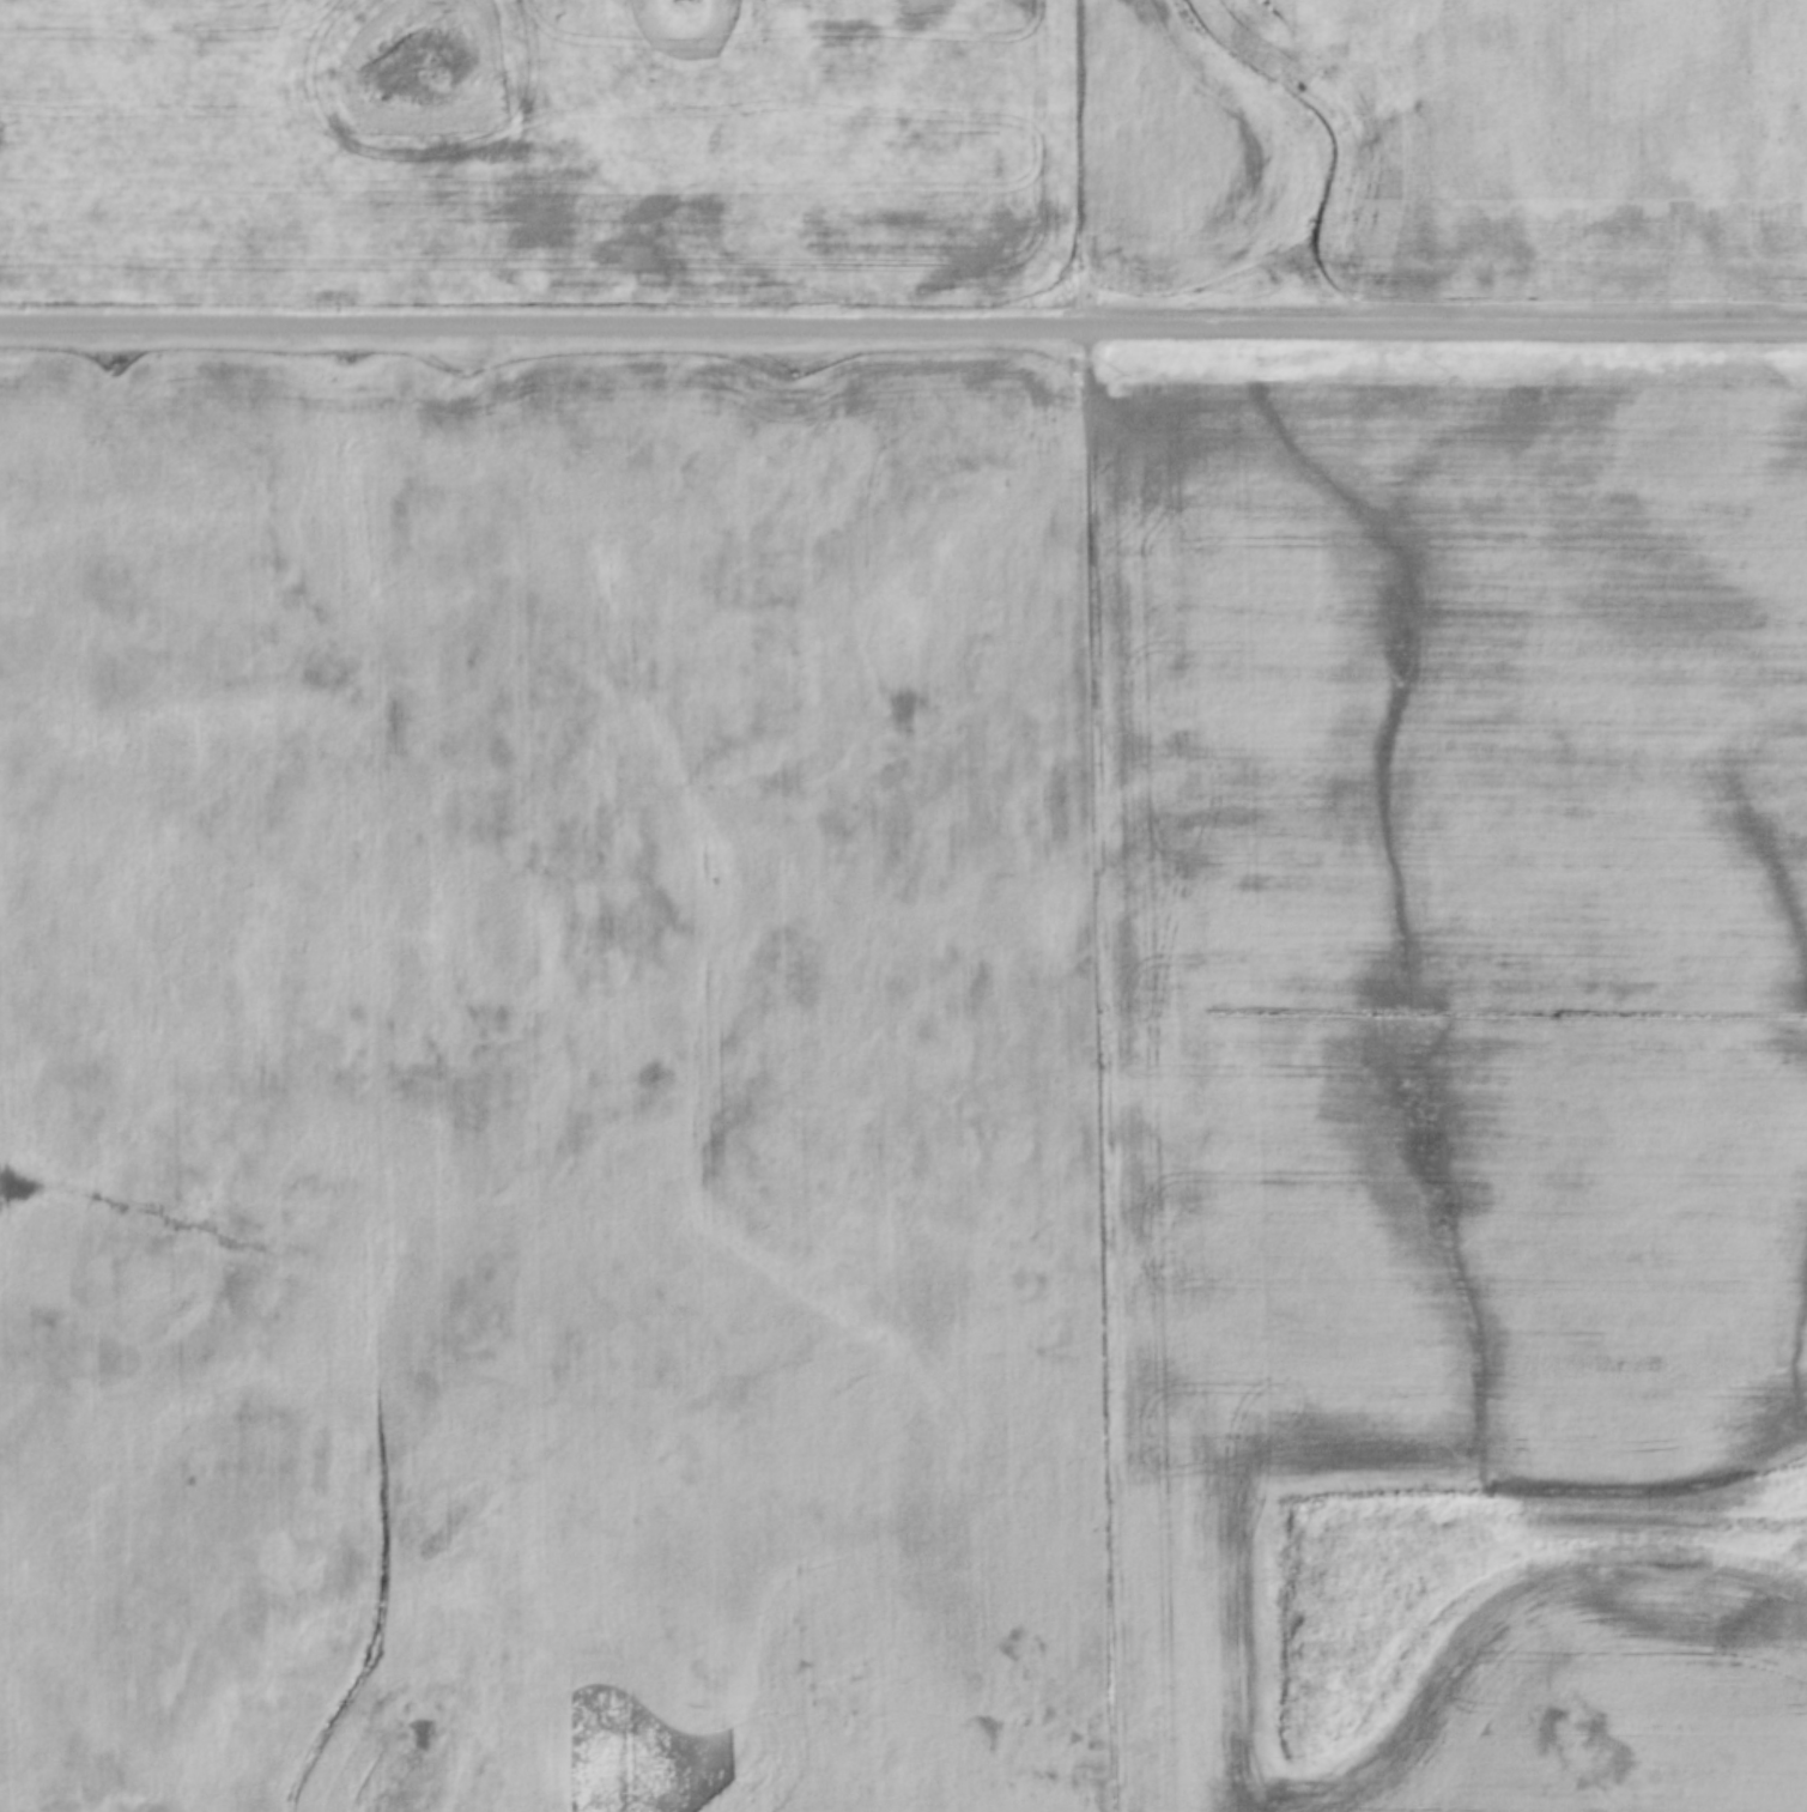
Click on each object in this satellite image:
road: (903, 328)

